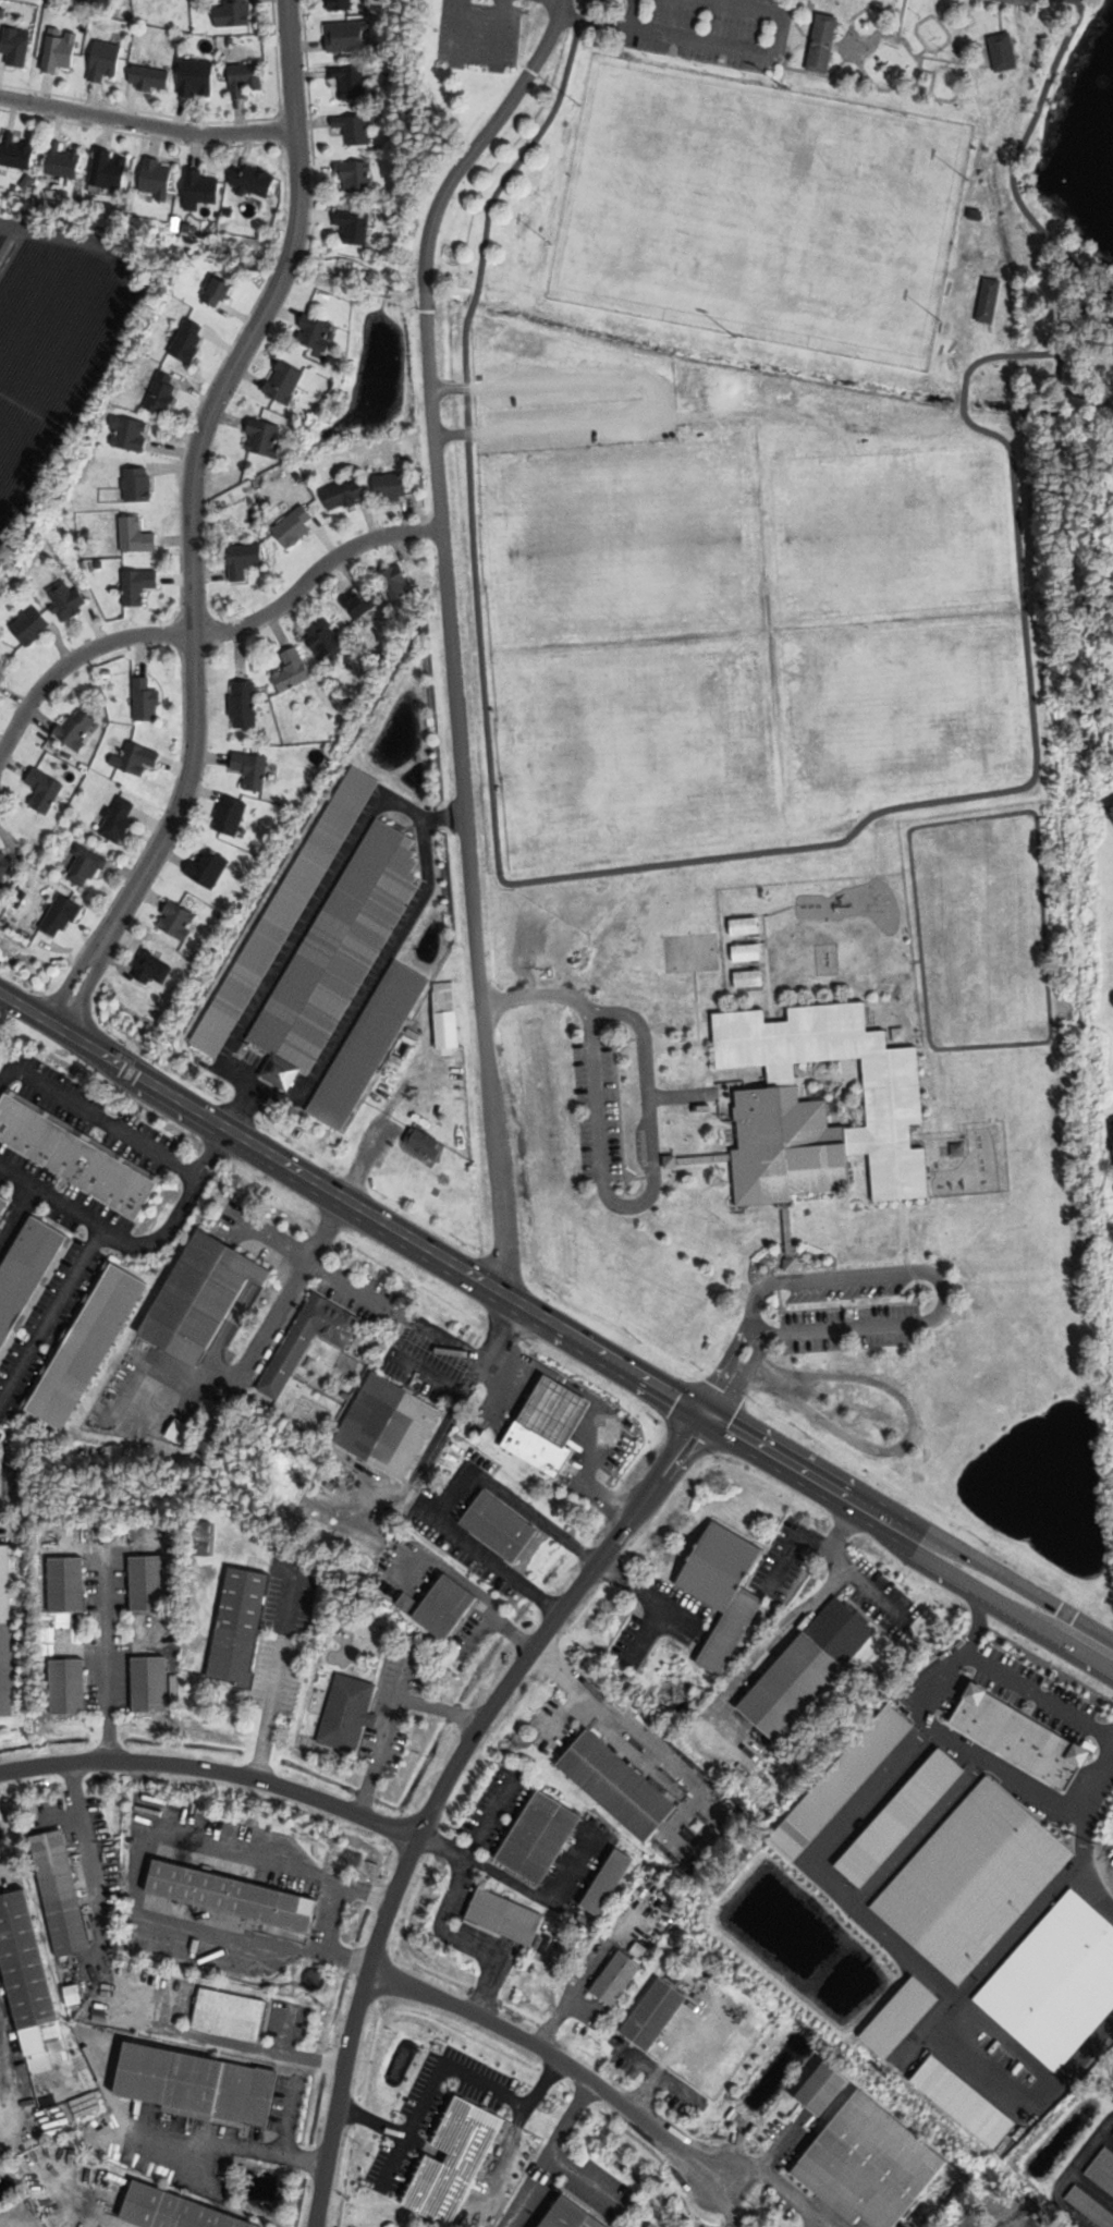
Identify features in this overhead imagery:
building: (105, 0)
building: (340, 4)
building: (233, 13)
road: (460, 32)
road: (498, 34)
building: (348, 36)
building: (819, 41)
road: (719, 44)
building: (14, 46)
building: (1002, 51)
building: (60, 52)
building: (103, 60)
building: (149, 77)
building: (196, 77)
building: (244, 78)
building: (350, 82)
road: (148, 123)
building: (353, 129)
road: (474, 146)
building: (15, 153)
building: (62, 161)
building: (110, 170)
building: (356, 177)
building: (157, 178)
building: (252, 181)
building: (201, 190)
park: (759, 210)
building: (353, 227)
road: (360, 255)
building: (218, 293)
building: (989, 301)
building: (315, 332)
building: (187, 340)
building: (284, 381)
park: (745, 390)
building: (162, 392)
building: (129, 433)
building: (264, 436)
building: (137, 484)
building: (392, 486)
building: (343, 492)
road: (196, 520)
building: (293, 525)
building: (136, 535)
building: (243, 559)
building: (396, 582)
building: (137, 585)
building: (68, 599)
building: (363, 603)
park: (753, 622)
building: (32, 625)
road: (207, 640)
building: (325, 640)
building: (292, 669)
building: (2, 676)
building: (145, 698)
building: (243, 704)
building: (76, 727)
road: (457, 730)
building: (135, 757)
building: (252, 769)
building: (44, 789)
road: (413, 810)
building: (1111, 810)
building: (230, 815)
road: (442, 816)
building: (118, 820)
building: (85, 865)
building: (5, 867)
building: (208, 867)
building: (285, 910)
building: (60, 916)
building: (178, 921)
building: (744, 926)
building: (746, 952)
building: (337, 953)
building: (151, 968)
building: (748, 979)
road: (536, 994)
road: (596, 1010)
building: (447, 1013)
building: (368, 1045)
building: (823, 1104)
road: (237, 1109)
road: (98, 1115)
building: (424, 1142)
building: (76, 1159)
road: (53, 1195)
road: (640, 1201)
building: (3, 1202)
road: (353, 1206)
road: (178, 1210)
parking lot: (62, 1222)
road: (502, 1226)
road: (314, 1263)
building: (27, 1274)
building: (205, 1294)
road: (53, 1313)
road: (264, 1328)
building: (303, 1339)
building: (89, 1344)
road: (497, 1356)
road: (468, 1375)
building: (549, 1409)
gas station: (549, 1409)
road: (549, 1409)
traffic signals: (710, 1413)
building: (384, 1425)
building: (533, 1446)
road: (790, 1461)
road: (586, 1475)
building: (502, 1523)
road: (810, 1535)
building: (203, 1538)
road: (491, 1560)
building: (714, 1567)
building: (144, 1581)
road: (991, 1581)
building: (64, 1583)
road: (864, 1585)
road: (645, 1594)
building: (450, 1605)
road: (978, 1616)
building: (234, 1623)
building: (726, 1630)
building: (835, 1630)
building: (4, 1669)
road: (103, 1677)
building: (146, 1683)
road: (576, 1684)
building: (64, 1686)
building: (786, 1686)
road: (1038, 1694)
building: (343, 1712)
building: (1089, 1719)
building: (1014, 1736)
road: (989, 1761)
road: (212, 1770)
building: (834, 1781)
building: (613, 1785)
road: (440, 1787)
building: (896, 1814)
building: (535, 1836)
parking lot: (8, 1873)
building: (969, 1878)
building: (603, 1881)
building: (64, 1890)
building: (235, 1894)
road: (323, 1910)
building: (502, 1916)
building: (25, 1960)
building: (612, 1977)
building: (1053, 1981)
building: (73, 1996)
parking lot: (3, 1998)
building: (227, 2012)
building: (650, 2013)
building: (894, 2016)
road: (555, 2055)
building: (192, 2082)
building: (819, 2088)
building: (959, 2101)
road: (289, 2116)
building: (1112, 2139)
road: (220, 2143)
building: (450, 2162)
building: (864, 2164)
building: (1102, 2168)
building: (1089, 2207)
building: (178, 2210)
building: (564, 2216)
building: (648, 2225)
building: (653, 2225)
building: (1080, 2226)

